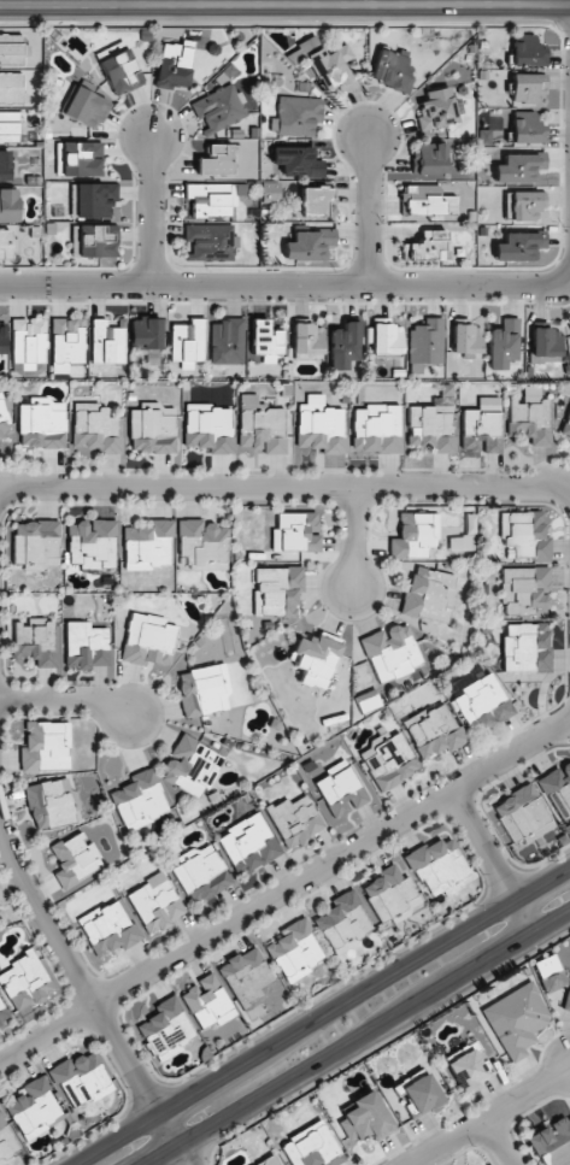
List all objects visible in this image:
road: (284, 5)
building: (12, 51)
building: (527, 51)
building: (329, 65)
building: (174, 66)
building: (118, 69)
building: (392, 70)
building: (525, 87)
building: (11, 88)
building: (86, 108)
building: (221, 108)
building: (437, 108)
building: (295, 116)
building: (10, 126)
building: (527, 128)
building: (77, 159)
building: (219, 159)
building: (429, 159)
building: (296, 161)
building: (4, 166)
building: (518, 167)
building: (211, 199)
building: (93, 200)
building: (427, 201)
building: (316, 202)
building: (8, 205)
road: (149, 208)
road: (366, 211)
building: (210, 240)
building: (94, 241)
building: (4, 243)
building: (308, 245)
building: (518, 246)
building: (427, 248)
road: (287, 284)
road: (284, 302)
building: (146, 334)
building: (386, 336)
building: (466, 339)
building: (2, 340)
building: (227, 341)
building: (265, 341)
building: (28, 342)
building: (106, 342)
building: (307, 342)
building: (66, 343)
building: (187, 343)
building: (503, 343)
building: (343, 345)
building: (425, 345)
building: (546, 346)
building: (2, 420)
building: (529, 420)
building: (566, 425)
building: (40, 426)
building: (430, 429)
building: (95, 430)
building: (208, 430)
building: (263, 430)
building: (321, 430)
building: (377, 430)
building: (480, 430)
building: (152, 431)
building: (0, 437)
road: (284, 469)
road: (284, 488)
road: (5, 501)
road: (413, 504)
road: (564, 504)
road: (353, 506)
building: (296, 531)
building: (527, 535)
building: (412, 536)
road: (352, 540)
building: (35, 541)
building: (92, 541)
building: (148, 542)
building: (201, 542)
building: (277, 590)
building: (527, 590)
building: (427, 594)
building: (146, 639)
building: (35, 643)
building: (86, 645)
building: (528, 648)
building: (388, 651)
building: (313, 655)
building: (199, 692)
road: (10, 700)
road: (65, 700)
road: (566, 700)
building: (368, 704)
building: (483, 705)
building: (436, 731)
building: (42, 747)
building: (389, 763)
building: (190, 765)
building: (340, 790)
building: (557, 790)
building: (139, 796)
building: (51, 802)
road: (460, 806)
road: (482, 811)
building: (521, 812)
building: (293, 820)
building: (566, 830)
building: (248, 843)
building: (71, 859)
road: (492, 860)
building: (435, 864)
road: (489, 864)
building: (201, 876)
road: (554, 887)
road: (286, 890)
building: (388, 892)
road: (474, 900)
building: (154, 907)
building: (342, 919)
road: (483, 928)
building: (108, 929)
building: (294, 947)
road: (53, 971)
building: (550, 973)
building: (240, 976)
building: (27, 982)
road: (83, 995)
building: (206, 1001)
building: (568, 1004)
building: (2, 1011)
road: (319, 1014)
building: (516, 1020)
building: (165, 1026)
road: (84, 1034)
road: (358, 1037)
road: (113, 1071)
building: (466, 1071)
road: (136, 1076)
building: (81, 1078)
building: (421, 1094)
road: (196, 1101)
building: (33, 1105)
road: (486, 1114)
building: (365, 1118)
road: (128, 1141)
road: (499, 1141)
building: (5, 1142)
building: (552, 1142)
building: (312, 1147)
building: (269, 1161)

